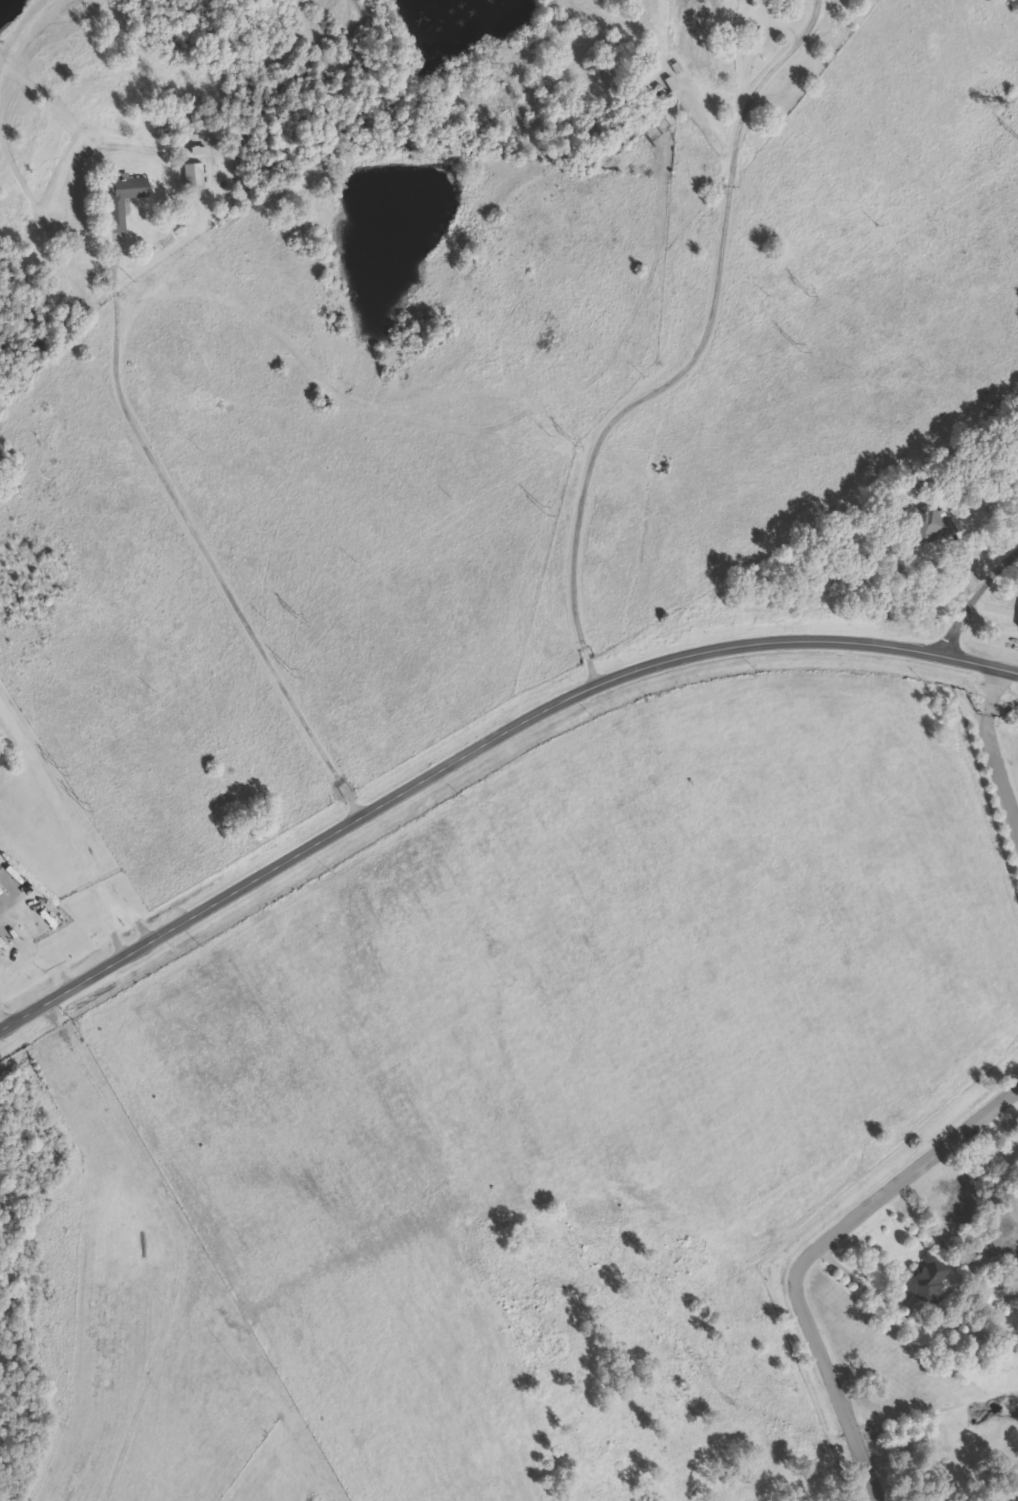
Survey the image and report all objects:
building: (671, 83)
building: (653, 95)
road: (708, 115)
building: (653, 116)
building: (194, 175)
building: (128, 190)
road: (694, 352)
road: (191, 531)
road: (975, 598)
road: (486, 743)
road: (990, 752)
road: (10, 906)
road: (3, 1013)
road: (176, 1237)
road: (808, 1253)
building: (929, 1278)

